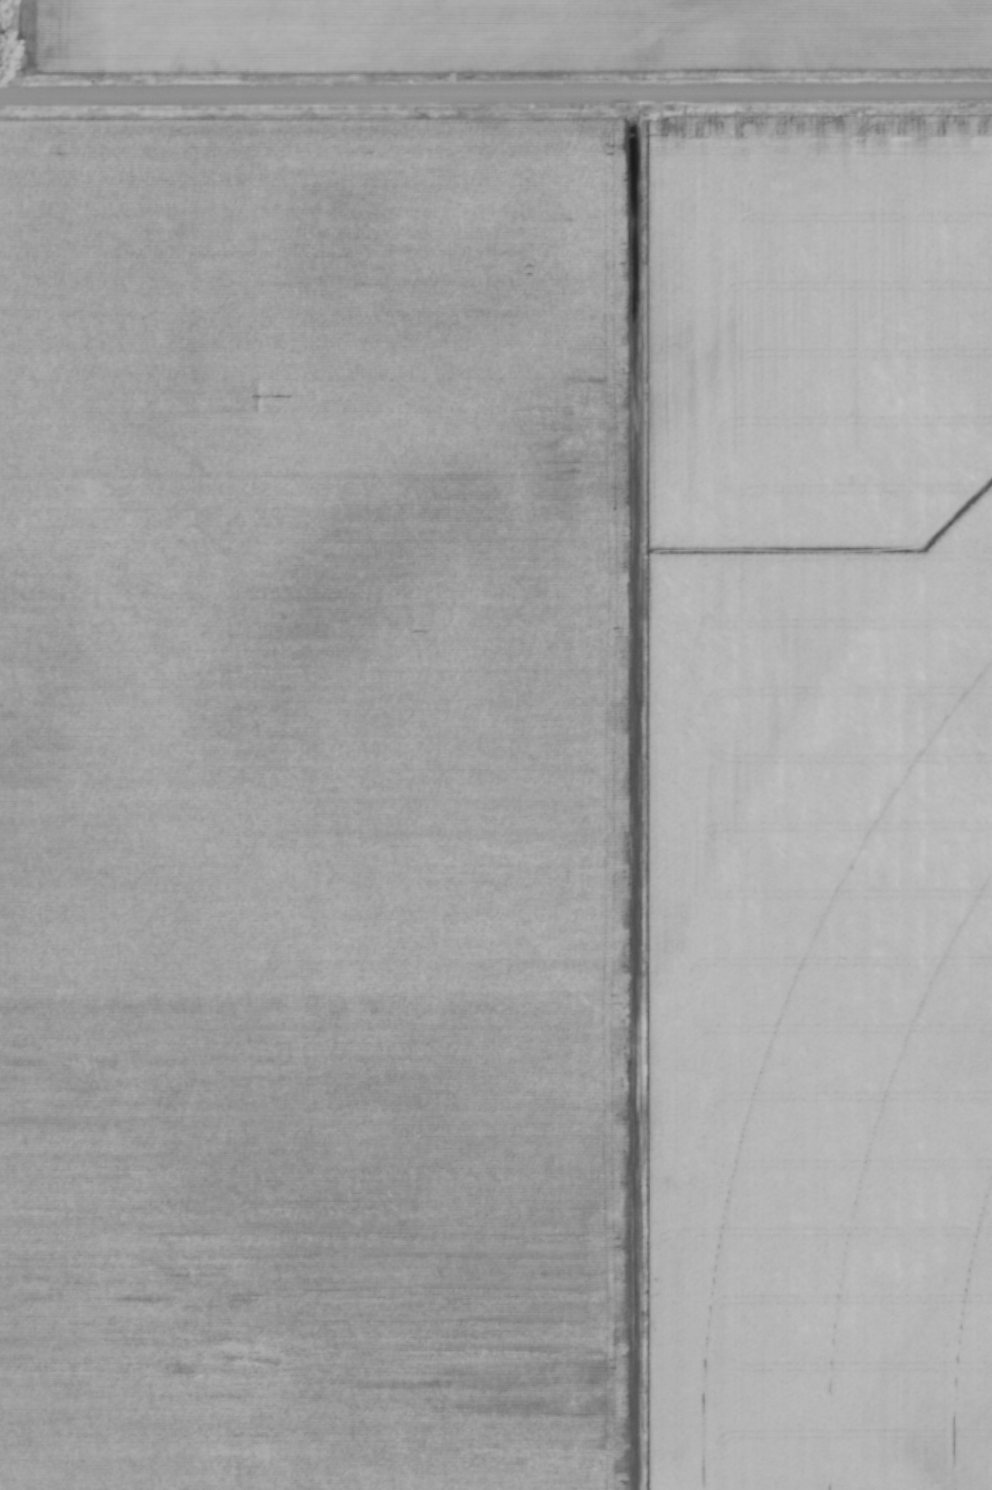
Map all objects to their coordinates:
crop: (510, 32)
crop: (10, 35)
road: (496, 96)

